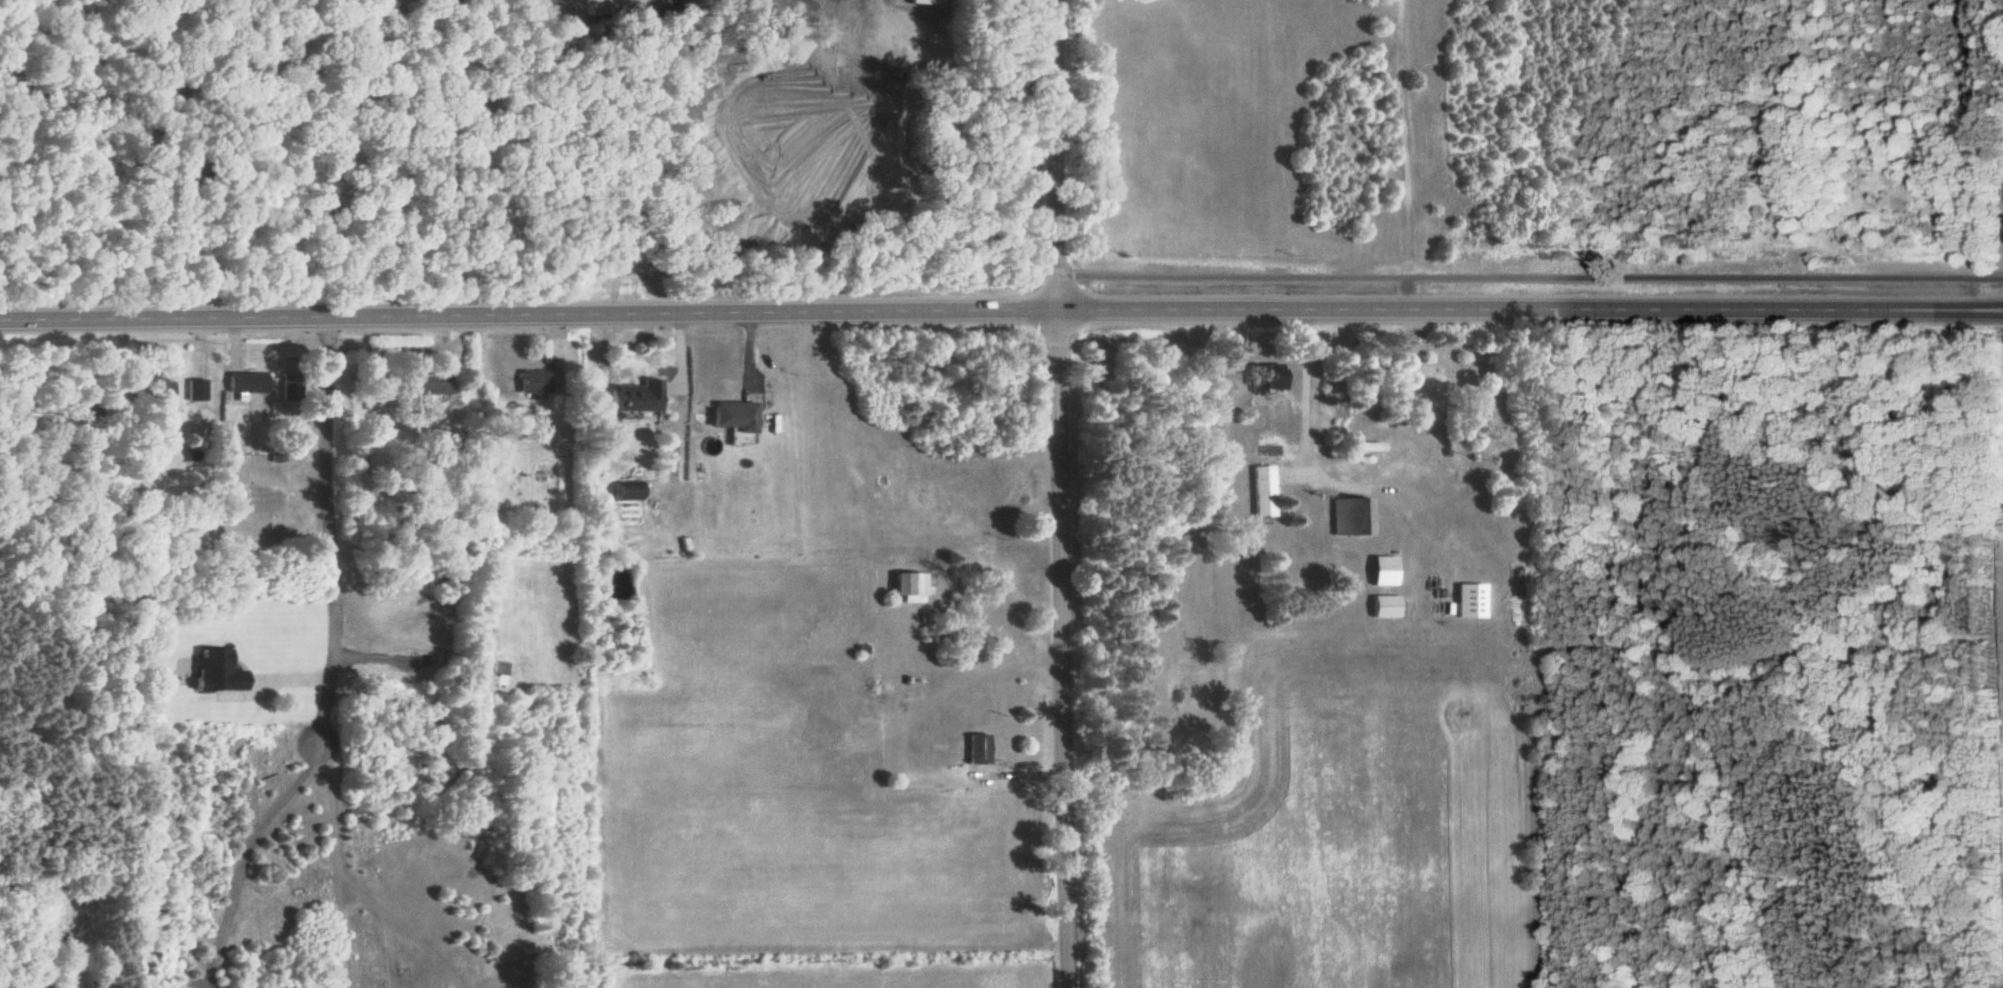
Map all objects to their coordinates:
road: (1533, 272)
road: (1001, 309)
building: (1264, 377)
building: (244, 382)
building: (534, 382)
building: (421, 383)
building: (158, 388)
building: (195, 389)
building: (630, 396)
road: (678, 400)
building: (731, 415)
building: (1368, 445)
road: (1298, 450)
building: (625, 490)
building: (1265, 490)
road: (1063, 494)
building: (1352, 515)
building: (1384, 569)
building: (911, 585)
building: (1472, 599)
building: (1386, 605)
road: (996, 639)
road: (406, 659)
road: (332, 663)
building: (216, 671)
building: (974, 748)

